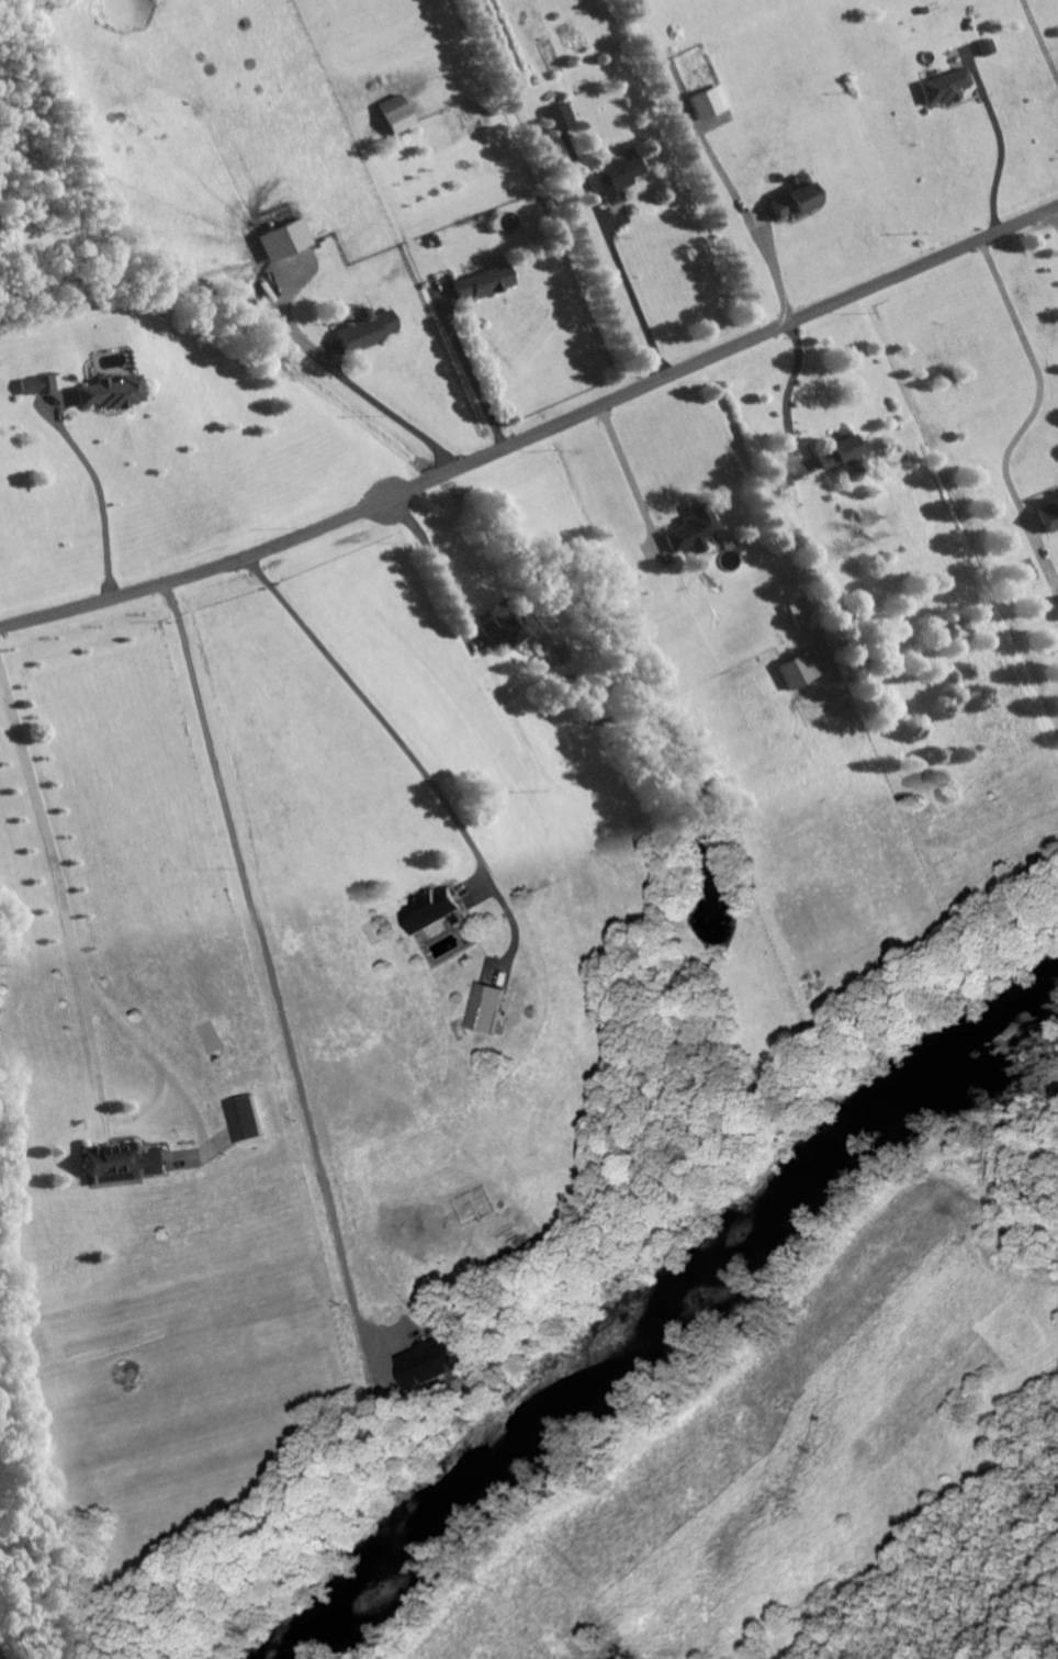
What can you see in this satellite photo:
building: (988, 47)
building: (946, 88)
building: (710, 103)
building: (397, 114)
building: (560, 117)
road: (1004, 154)
building: (619, 178)
building: (798, 202)
road: (749, 212)
road: (1055, 221)
building: (284, 240)
building: (484, 283)
road: (637, 299)
building: (368, 332)
road: (472, 374)
building: (37, 386)
building: (109, 393)
road: (371, 396)
road: (792, 396)
road: (1038, 397)
road: (534, 437)
building: (842, 450)
road: (631, 474)
building: (1057, 492)
road: (102, 502)
building: (1048, 516)
building: (695, 530)
building: (1056, 605)
building: (508, 628)
building: (798, 671)
road: (394, 735)
road: (46, 819)
building: (431, 909)
road: (274, 993)
building: (488, 1009)
road: (140, 1113)
building: (245, 1120)
building: (123, 1164)
river: (656, 1325)
building: (432, 1363)
road: (741, 1567)

